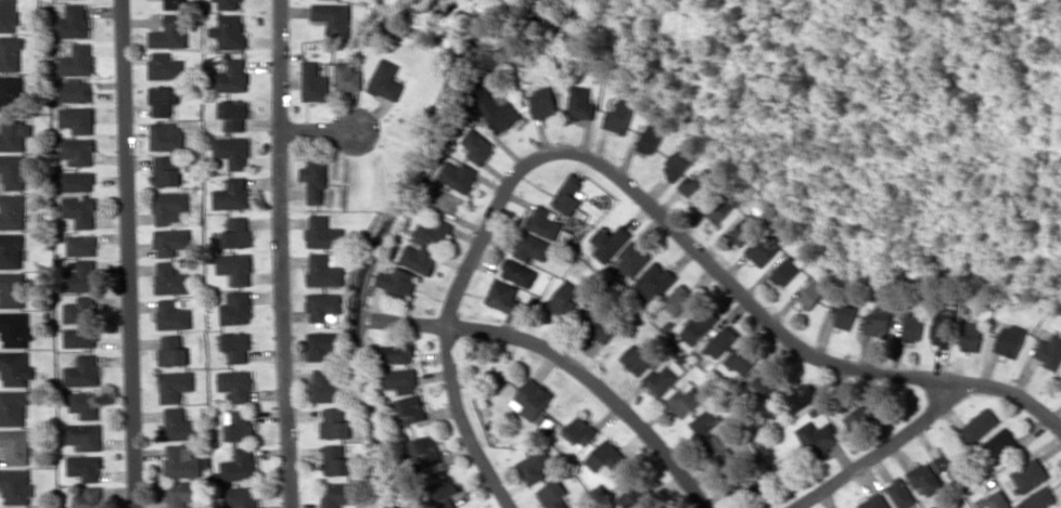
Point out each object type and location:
building: (175, 3)
building: (229, 3)
building: (8, 15)
building: (334, 17)
building: (73, 22)
building: (230, 30)
building: (170, 32)
building: (10, 53)
building: (77, 61)
building: (165, 65)
building: (231, 76)
building: (347, 76)
building: (385, 80)
building: (314, 82)
building: (75, 90)
building: (11, 92)
building: (163, 100)
building: (542, 103)
building: (580, 103)
building: (496, 108)
building: (234, 114)
building: (618, 116)
building: (77, 119)
road: (318, 130)
building: (13, 133)
building: (166, 135)
building: (650, 138)
building: (477, 145)
building: (78, 151)
building: (232, 152)
building: (680, 159)
building: (166, 170)
building: (14, 171)
building: (458, 175)
building: (315, 179)
building: (77, 181)
building: (698, 184)
building: (232, 194)
building: (568, 194)
building: (170, 206)
building: (721, 207)
building: (12, 210)
building: (79, 210)
building: (544, 221)
building: (432, 230)
building: (744, 230)
building: (237, 231)
building: (322, 232)
building: (171, 240)
building: (608, 242)
building: (81, 245)
building: (530, 246)
building: (11, 250)
building: (763, 250)
road: (131, 253)
road: (285, 253)
building: (634, 256)
building: (418, 258)
road: (706, 260)
building: (235, 268)
building: (323, 271)
building: (785, 271)
building: (517, 272)
building: (81, 276)
building: (170, 278)
building: (654, 279)
building: (396, 281)
building: (12, 289)
building: (811, 294)
building: (504, 297)
building: (563, 299)
building: (678, 299)
building: (322, 304)
building: (237, 308)
building: (81, 309)
building: (172, 314)
building: (846, 315)
building: (879, 321)
building: (598, 324)
building: (698, 326)
building: (913, 327)
building: (15, 328)
building: (942, 334)
building: (971, 336)
building: (80, 337)
building: (1009, 340)
building: (720, 341)
building: (322, 344)
building: (237, 347)
building: (172, 350)
building: (1049, 350)
building: (396, 353)
building: (637, 357)
building: (741, 359)
road: (567, 362)
building: (15, 368)
building: (82, 370)
building: (661, 379)
building: (400, 380)
building: (766, 382)
building: (175, 385)
building: (237, 385)
building: (328, 386)
building: (801, 396)
building: (533, 398)
building: (685, 399)
building: (85, 403)
building: (13, 406)
building: (411, 408)
building: (859, 416)
building: (705, 420)
building: (334, 422)
road: (460, 422)
building: (178, 425)
building: (240, 425)
building: (977, 425)
building: (579, 431)
building: (84, 435)
building: (817, 438)
building: (16, 445)
building: (723, 445)
building: (999, 445)
road: (879, 448)
building: (421, 451)
building: (606, 456)
building: (334, 458)
building: (181, 460)
building: (949, 464)
building: (240, 465)
building: (534, 466)
building: (85, 467)
building: (1028, 474)
building: (924, 479)
building: (16, 486)
building: (444, 487)
building: (181, 493)
building: (900, 493)
building: (336, 494)
building: (553, 494)
building: (241, 496)
building: (88, 498)
building: (629, 498)
building: (1038, 498)
building: (997, 500)
building: (874, 502)

